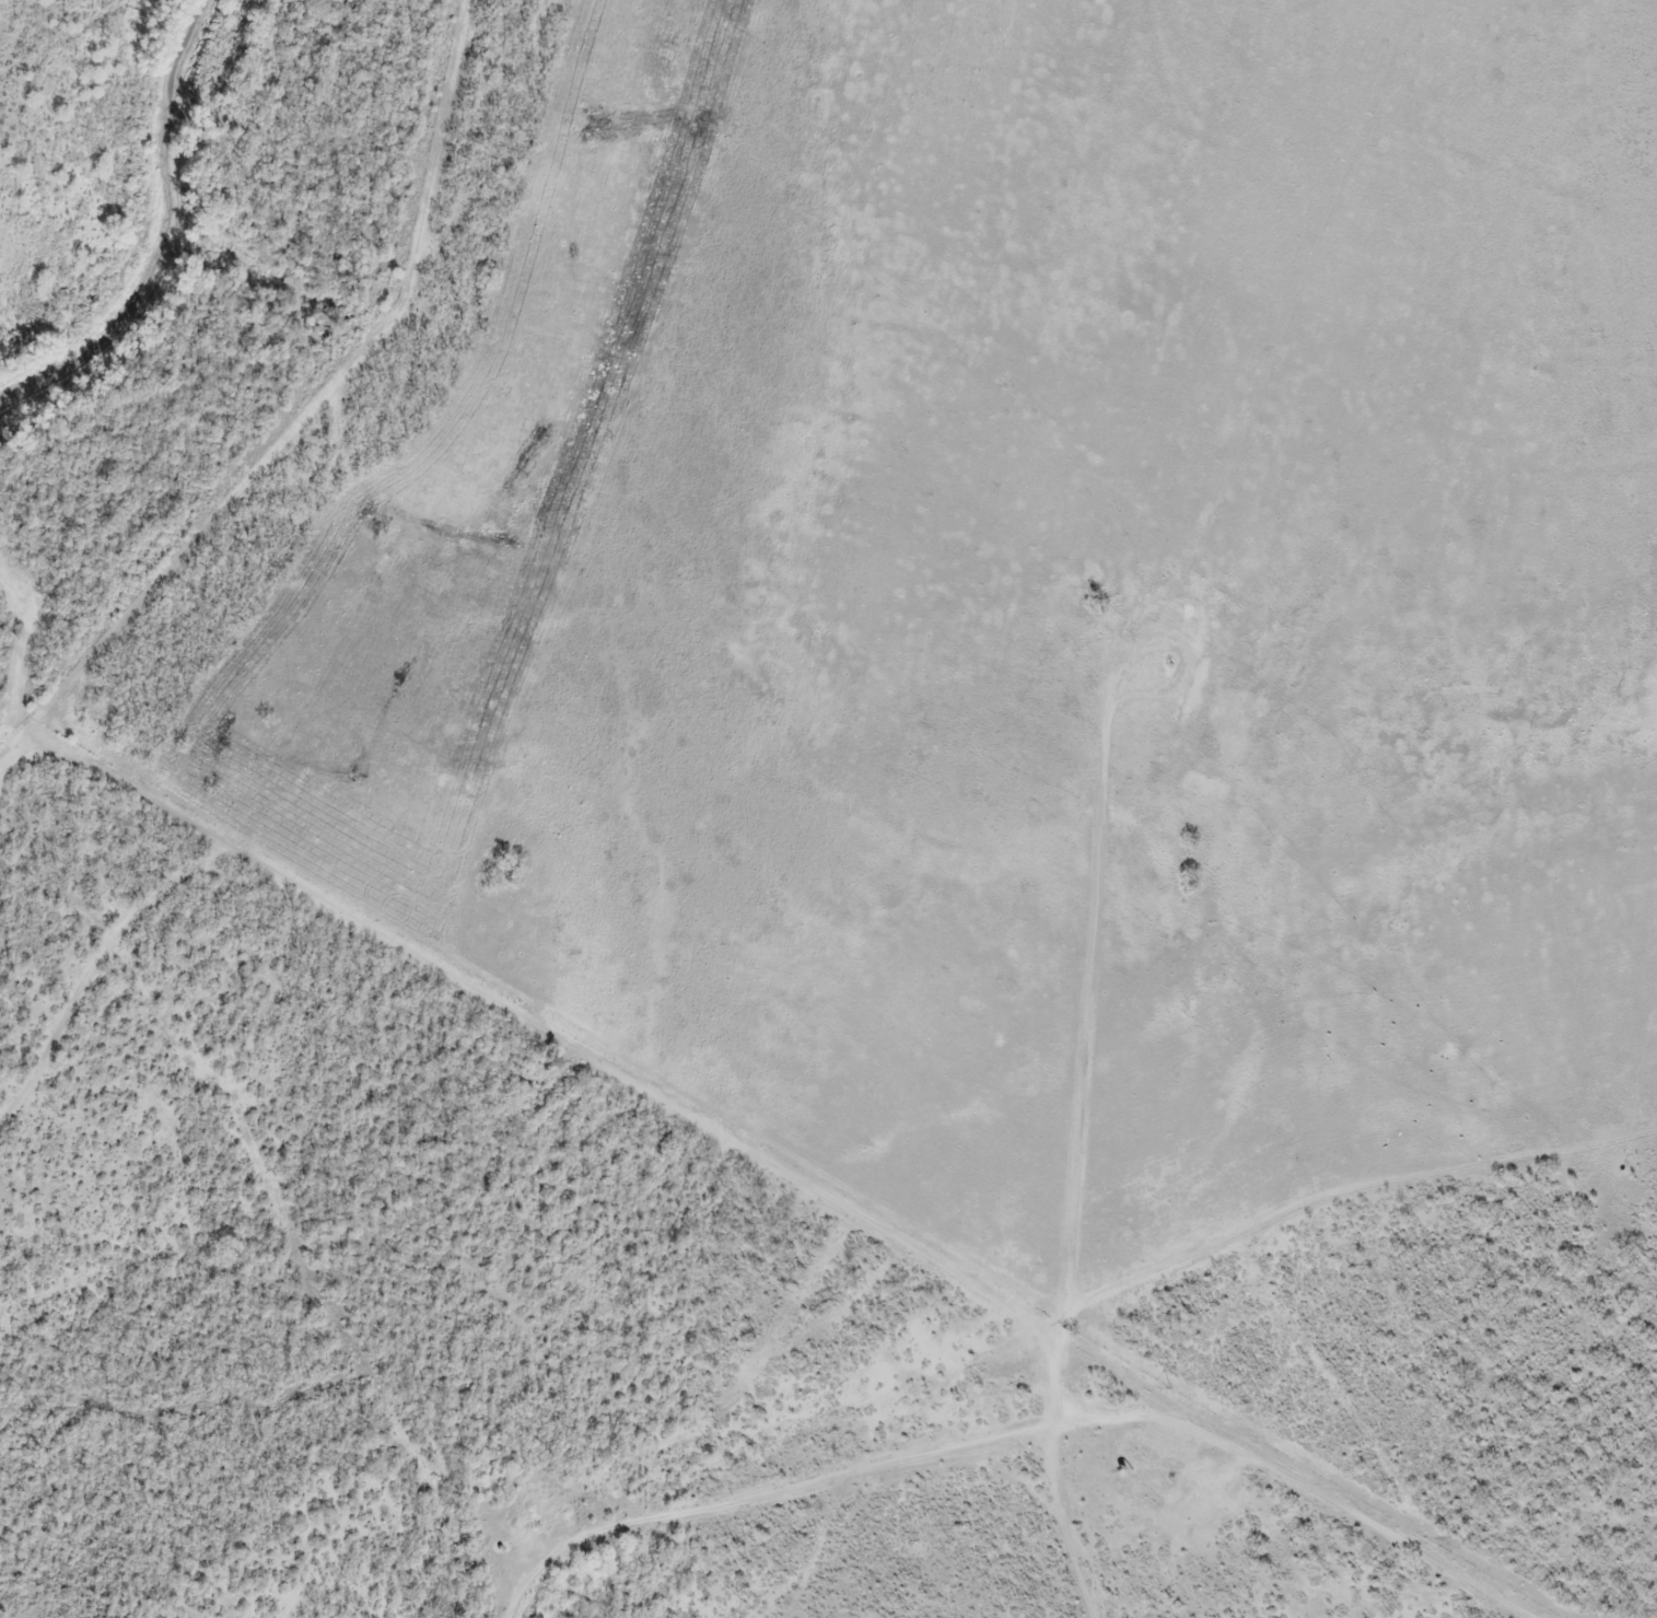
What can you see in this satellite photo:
river: (156, 240)
road: (91, 988)
road: (439, 1004)
road: (1287, 1488)

